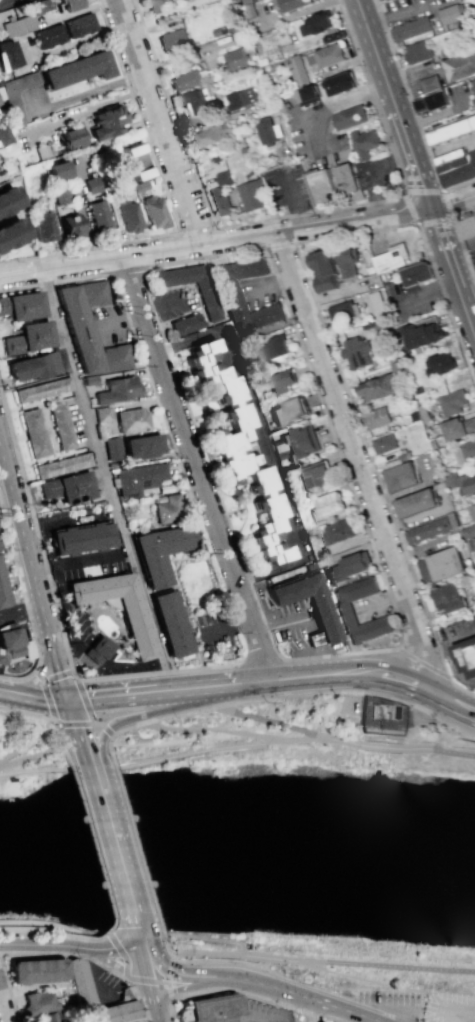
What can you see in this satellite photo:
building: (184, 0)
building: (381, 0)
road: (8, 3)
building: (71, 4)
building: (292, 4)
building: (39, 5)
building: (159, 5)
parking lot: (411, 8)
road: (399, 10)
building: (449, 13)
road: (364, 15)
building: (17, 24)
building: (78, 24)
building: (316, 25)
building: (411, 29)
building: (48, 35)
building: (238, 36)
building: (173, 41)
road: (25, 50)
building: (416, 52)
building: (7, 55)
building: (326, 56)
building: (235, 59)
building: (460, 65)
building: (76, 69)
building: (299, 71)
building: (193, 80)
building: (428, 83)
building: (340, 84)
building: (472, 88)
building: (306, 94)
road: (405, 94)
building: (15, 95)
building: (239, 97)
building: (198, 100)
building: (431, 102)
building: (0, 104)
road: (323, 109)
road: (154, 111)
building: (350, 118)
road: (400, 120)
building: (105, 121)
building: (269, 131)
building: (450, 131)
building: (4, 135)
building: (72, 135)
building: (209, 137)
building: (363, 143)
building: (42, 150)
building: (448, 156)
building: (137, 161)
building: (457, 168)
building: (55, 170)
road: (376, 174)
parking lot: (377, 175)
building: (91, 184)
building: (348, 184)
building: (138, 185)
road: (457, 185)
parking lot: (287, 188)
building: (322, 188)
building: (58, 194)
building: (251, 194)
building: (222, 195)
road: (407, 196)
building: (7, 198)
road: (168, 201)
road: (454, 202)
road: (295, 205)
road: (79, 209)
building: (155, 213)
road: (462, 213)
building: (98, 215)
building: (128, 215)
road: (289, 215)
road: (448, 217)
building: (71, 226)
building: (44, 227)
building: (467, 228)
road: (196, 230)
road: (380, 230)
building: (10, 231)
road: (190, 234)
road: (234, 238)
road: (471, 242)
road: (278, 244)
road: (457, 247)
road: (446, 249)
road: (462, 253)
building: (392, 258)
parking lot: (471, 262)
building: (347, 263)
road: (153, 264)
building: (323, 269)
road: (125, 272)
road: (18, 274)
building: (417, 274)
building: (227, 290)
road: (431, 291)
building: (374, 301)
building: (208, 302)
road: (446, 303)
building: (21, 305)
road: (160, 305)
building: (342, 310)
road: (467, 311)
road: (120, 319)
building: (185, 323)
building: (88, 328)
building: (420, 334)
building: (27, 337)
building: (276, 346)
building: (355, 351)
building: (441, 364)
building: (34, 365)
building: (89, 379)
building: (280, 382)
building: (378, 387)
building: (117, 389)
building: (418, 389)
building: (43, 395)
building: (453, 401)
building: (287, 412)
building: (101, 413)
building: (414, 416)
road: (354, 417)
building: (376, 418)
building: (130, 420)
building: (459, 427)
building: (59, 428)
building: (33, 436)
road: (258, 443)
building: (297, 443)
building: (384, 443)
building: (233, 444)
building: (433, 444)
building: (140, 445)
building: (112, 447)
building: (468, 450)
building: (403, 455)
building: (75, 463)
road: (358, 464)
road: (197, 468)
building: (46, 471)
building: (311, 476)
building: (401, 476)
road: (103, 477)
building: (137, 477)
building: (461, 482)
building: (65, 488)
road: (6, 494)
building: (416, 502)
building: (167, 509)
building: (471, 511)
building: (474, 522)
building: (428, 529)
building: (338, 531)
building: (468, 531)
building: (80, 538)
building: (474, 538)
road: (27, 548)
road: (353, 552)
building: (158, 553)
road: (171, 559)
building: (441, 565)
building: (347, 567)
building: (5, 590)
road: (181, 596)
building: (447, 598)
road: (382, 600)
road: (25, 605)
parking lot: (371, 606)
building: (341, 607)
building: (117, 608)
road: (21, 611)
building: (321, 618)
road: (281, 624)
parking lot: (293, 624)
road: (309, 624)
building: (169, 625)
road: (227, 625)
parking lot: (214, 628)
road: (238, 629)
road: (198, 634)
road: (314, 638)
building: (14, 647)
building: (96, 649)
road: (258, 652)
building: (466, 657)
road: (321, 658)
road: (392, 658)
road: (181, 659)
road: (420, 662)
road: (347, 672)
road: (57, 675)
road: (38, 676)
road: (61, 678)
road: (282, 678)
road: (401, 682)
road: (219, 687)
road: (46, 693)
road: (311, 693)
road: (349, 693)
road: (136, 695)
road: (85, 698)
road: (34, 699)
traffic signals: (69, 702)
road: (455, 705)
park: (271, 712)
road: (26, 713)
road: (138, 716)
road: (260, 717)
building: (382, 717)
road: (55, 722)
park: (14, 724)
road: (86, 724)
road: (127, 730)
road: (209, 731)
road: (78, 732)
road: (59, 736)
road: (298, 739)
road: (29, 741)
road: (107, 743)
road: (349, 743)
road: (405, 747)
road: (62, 751)
road: (453, 751)
road: (196, 755)
road: (30, 757)
road: (93, 771)
road: (34, 773)
road: (94, 786)
river: (233, 827)
road: (107, 828)
park: (250, 839)
road: (91, 843)
road: (138, 850)
road: (125, 892)
road: (66, 926)
road: (50, 932)
road: (103, 935)
road: (108, 936)
road: (191, 937)
road: (139, 939)
road: (70, 946)
road: (145, 948)
road: (167, 951)
road: (198, 952)
road: (64, 953)
road: (121, 956)
road: (117, 963)
road: (360, 964)
road: (168, 969)
building: (34, 971)
road: (331, 972)
road: (92, 973)
road: (147, 973)
road: (181, 973)
traffic signals: (148, 976)
road: (277, 976)
road: (145, 980)
parking lot: (102, 984)
road: (184, 985)
road: (168, 987)
road: (8, 989)
road: (139, 990)
building: (80, 991)
road: (238, 991)
road: (112, 994)
road: (169, 994)
road: (124, 995)
road: (299, 996)
road: (136, 997)
road: (240, 999)
parking lot: (385, 999)
building: (35, 1003)
traffic signals: (155, 1004)
parking lot: (449, 1007)
road: (3, 1008)
building: (209, 1008)
road: (170, 1009)
road: (303, 1009)
road: (304, 1011)
road: (157, 1013)
road: (459, 1013)
building: (45, 1017)
road: (325, 1017)
road: (453, 1017)

